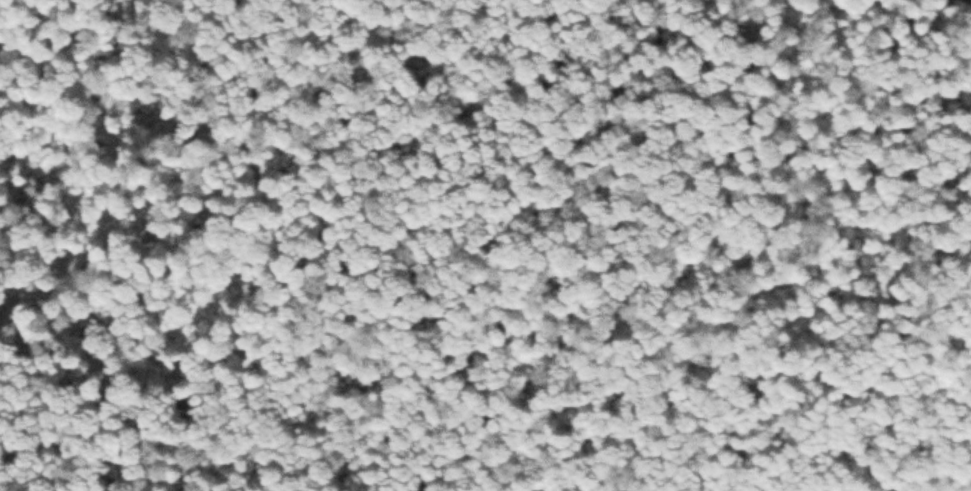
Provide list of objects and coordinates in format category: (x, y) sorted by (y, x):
road: (3, 13)

